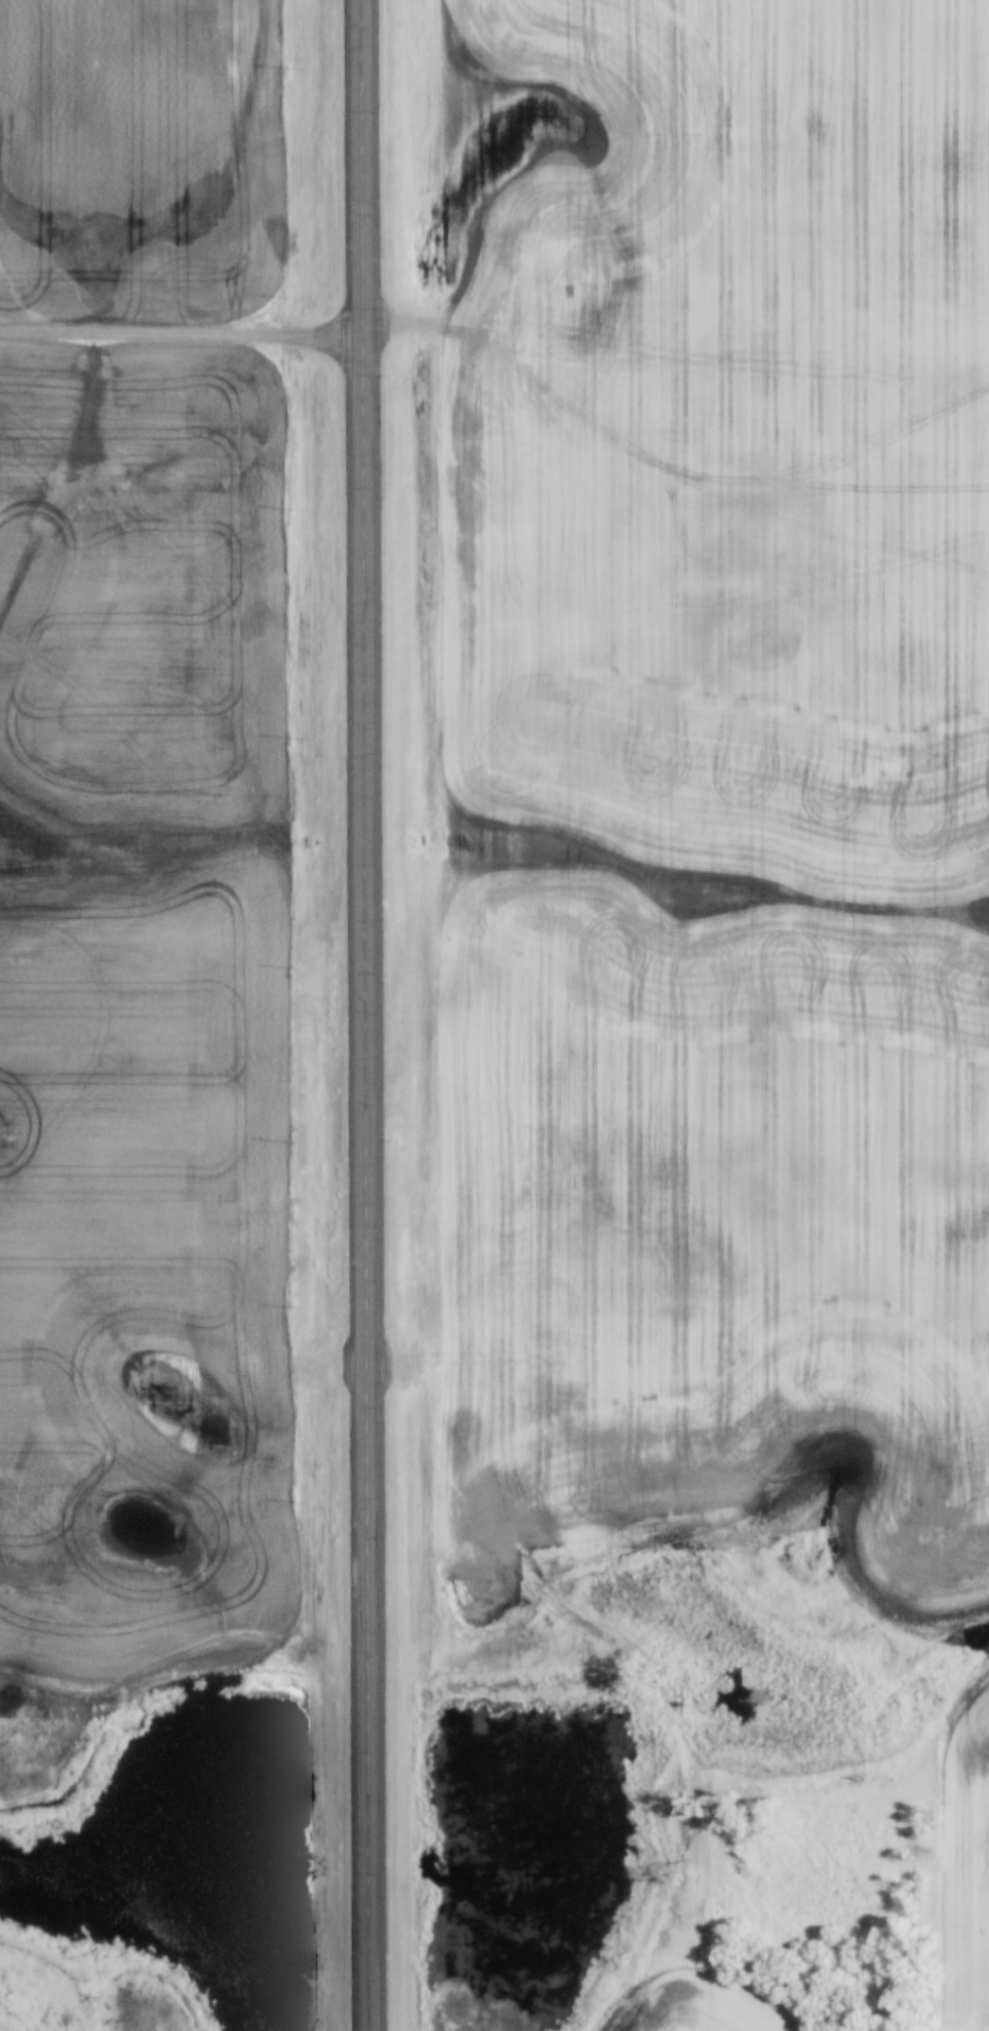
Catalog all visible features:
road: (184, 336)
road: (371, 1015)

